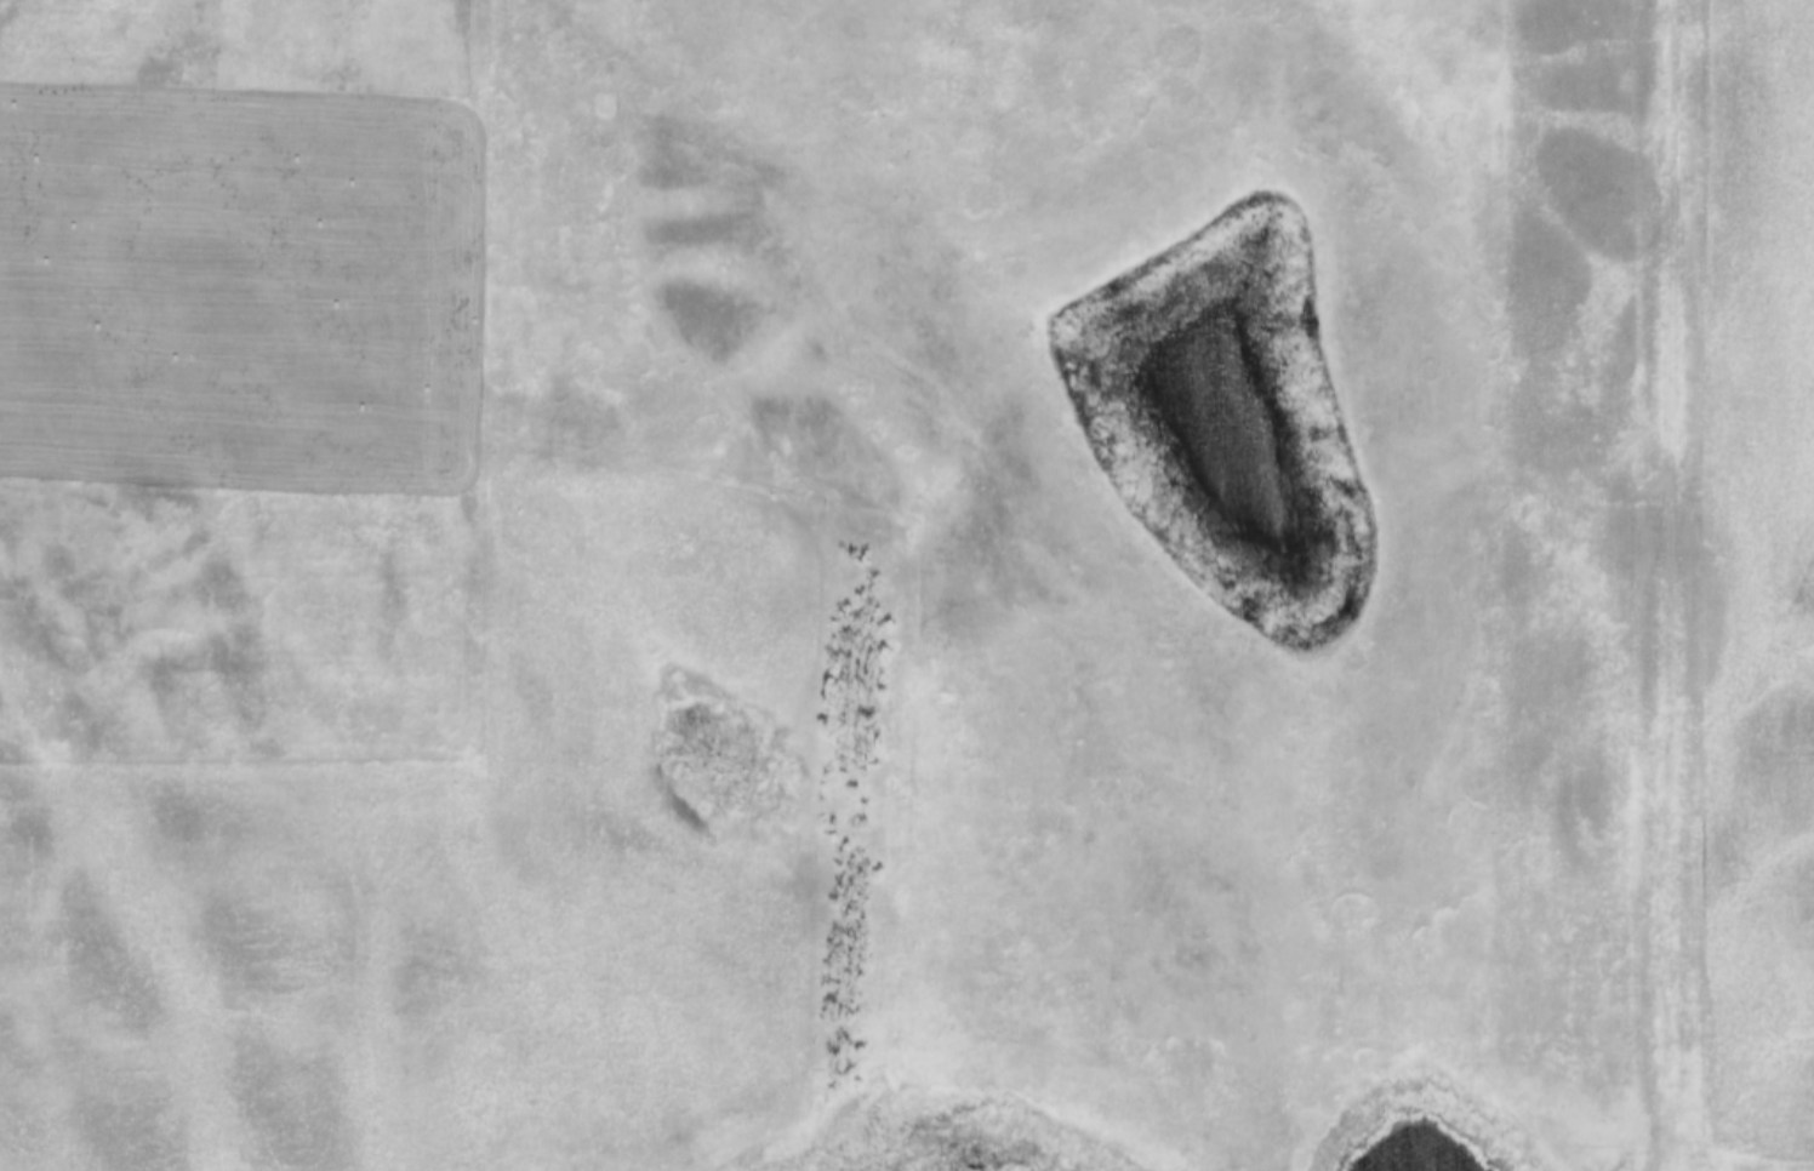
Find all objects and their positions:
road: (1670, 584)

